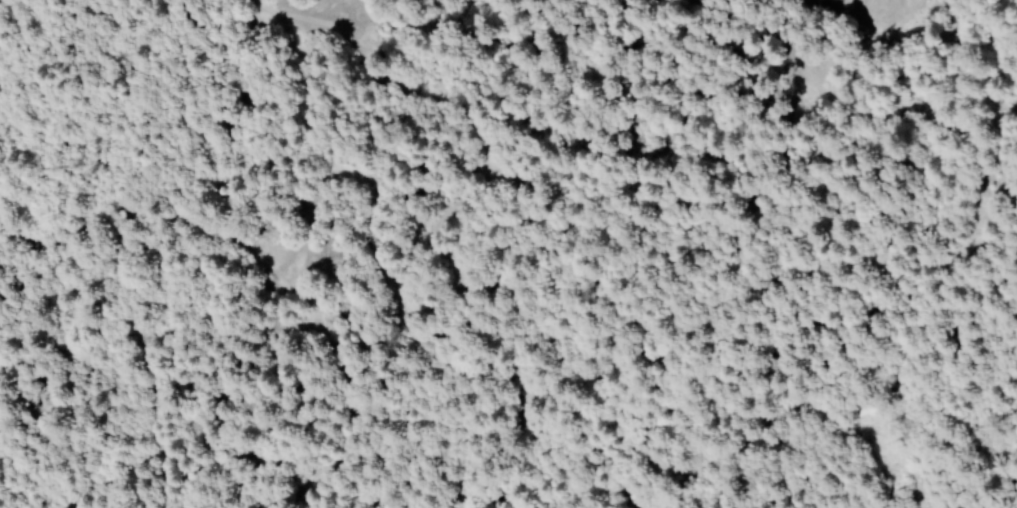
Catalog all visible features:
road: (308, 212)
road: (942, 343)
road: (595, 498)

